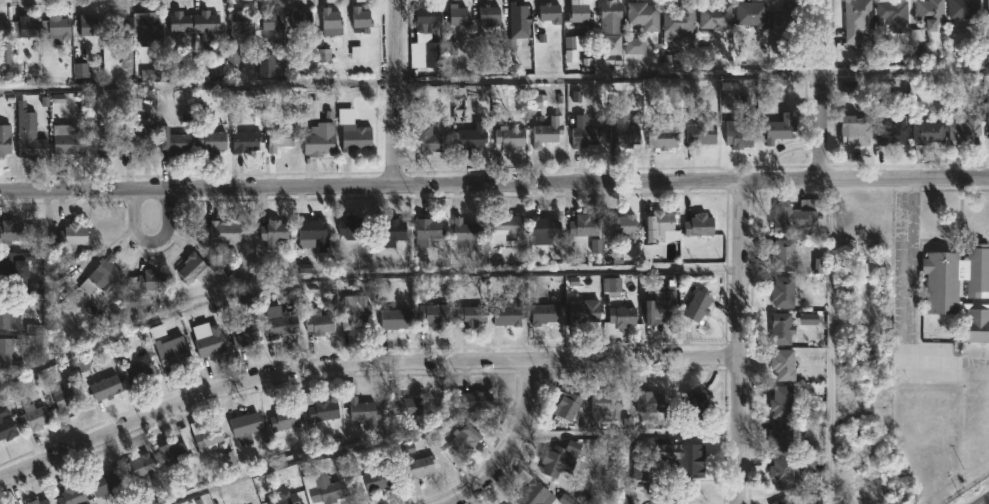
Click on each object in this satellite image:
building: (988, 9)
building: (965, 11)
building: (550, 12)
building: (579, 12)
building: (517, 13)
building: (893, 13)
building: (931, 13)
building: (488, 14)
building: (752, 14)
building: (457, 15)
building: (643, 15)
building: (360, 16)
building: (716, 16)
building: (426, 17)
building: (610, 17)
building: (679, 19)
building: (858, 19)
building: (269, 20)
building: (301, 20)
building: (205, 22)
building: (180, 24)
building: (331, 24)
building: (87, 26)
building: (119, 26)
building: (240, 26)
building: (24, 28)
building: (146, 28)
building: (786, 28)
building: (4, 29)
building: (56, 29)
building: (919, 44)
building: (613, 45)
building: (635, 46)
building: (433, 55)
building: (266, 66)
road: (494, 80)
road: (822, 89)
road: (394, 92)
building: (546, 129)
building: (779, 129)
building: (585, 132)
building: (698, 132)
building: (855, 132)
building: (966, 132)
building: (893, 133)
building: (928, 133)
building: (625, 135)
building: (737, 135)
building: (281, 136)
building: (663, 136)
building: (354, 137)
building: (509, 137)
building: (320, 138)
building: (472, 138)
building: (65, 139)
building: (425, 139)
building: (4, 140)
building: (245, 141)
building: (30, 142)
building: (140, 142)
building: (173, 142)
building: (211, 142)
building: (104, 148)
road: (494, 184)
road: (951, 189)
building: (797, 216)
building: (506, 225)
building: (700, 225)
building: (584, 226)
building: (352, 227)
building: (623, 227)
building: (427, 228)
building: (659, 230)
building: (312, 231)
building: (9, 233)
building: (224, 233)
building: (273, 233)
building: (390, 233)
building: (543, 233)
building: (466, 236)
building: (71, 237)
road: (151, 240)
building: (784, 256)
building: (195, 270)
building: (22, 271)
building: (102, 277)
road: (360, 277)
building: (146, 282)
building: (940, 286)
building: (36, 290)
building: (783, 292)
building: (661, 304)
building: (698, 307)
building: (355, 310)
building: (508, 312)
building: (9, 313)
building: (432, 313)
building: (546, 313)
building: (583, 314)
building: (471, 316)
building: (394, 318)
building: (619, 319)
building: (280, 321)
building: (318, 324)
building: (782, 329)
building: (244, 335)
road: (738, 341)
road: (834, 341)
building: (210, 343)
building: (9, 352)
building: (173, 355)
road: (358, 363)
building: (784, 365)
building: (137, 369)
building: (105, 388)
building: (65, 396)
building: (477, 398)
building: (783, 401)
building: (649, 402)
building: (696, 404)
building: (567, 405)
building: (605, 405)
building: (319, 406)
building: (406, 406)
building: (361, 409)
building: (3, 411)
building: (33, 417)
building: (284, 417)
building: (245, 424)
building: (7, 430)
road: (629, 434)
building: (205, 435)
building: (782, 437)
building: (464, 439)
road: (514, 444)
road: (332, 450)
building: (172, 452)
building: (560, 458)
building: (683, 459)
building: (139, 467)
building: (419, 470)
building: (788, 470)
road: (627, 471)
building: (372, 481)
road: (984, 481)
building: (104, 482)
building: (321, 488)
building: (534, 491)
building: (72, 495)
building: (284, 498)
building: (676, 498)
building: (37, 501)
building: (782, 501)
road: (985, 501)

